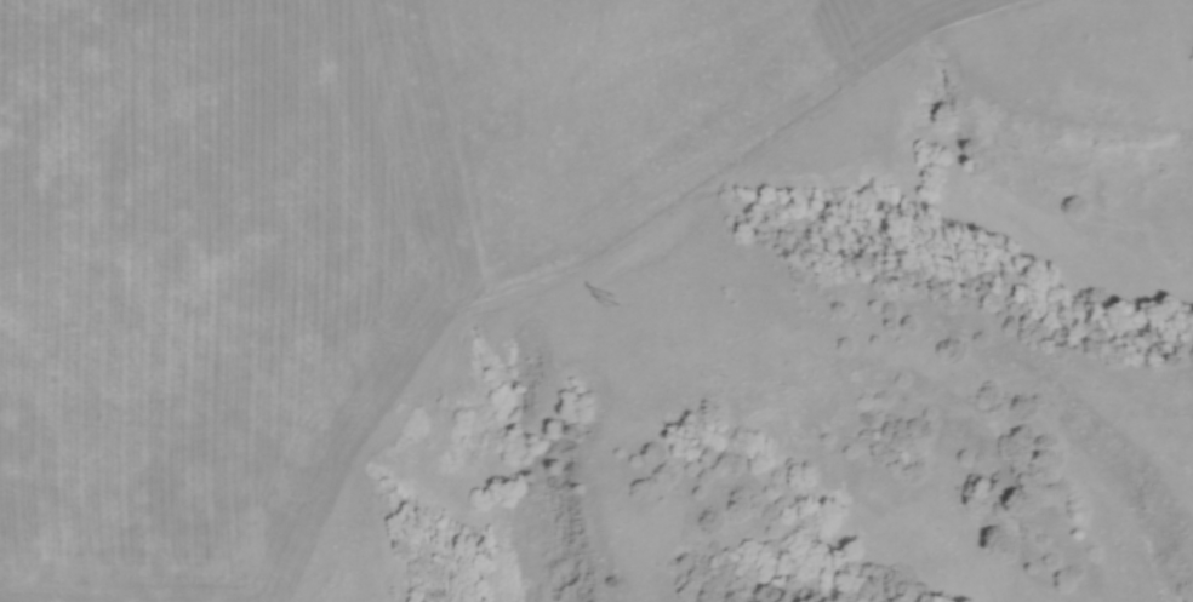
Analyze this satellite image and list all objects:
power tower: (615, 303)

